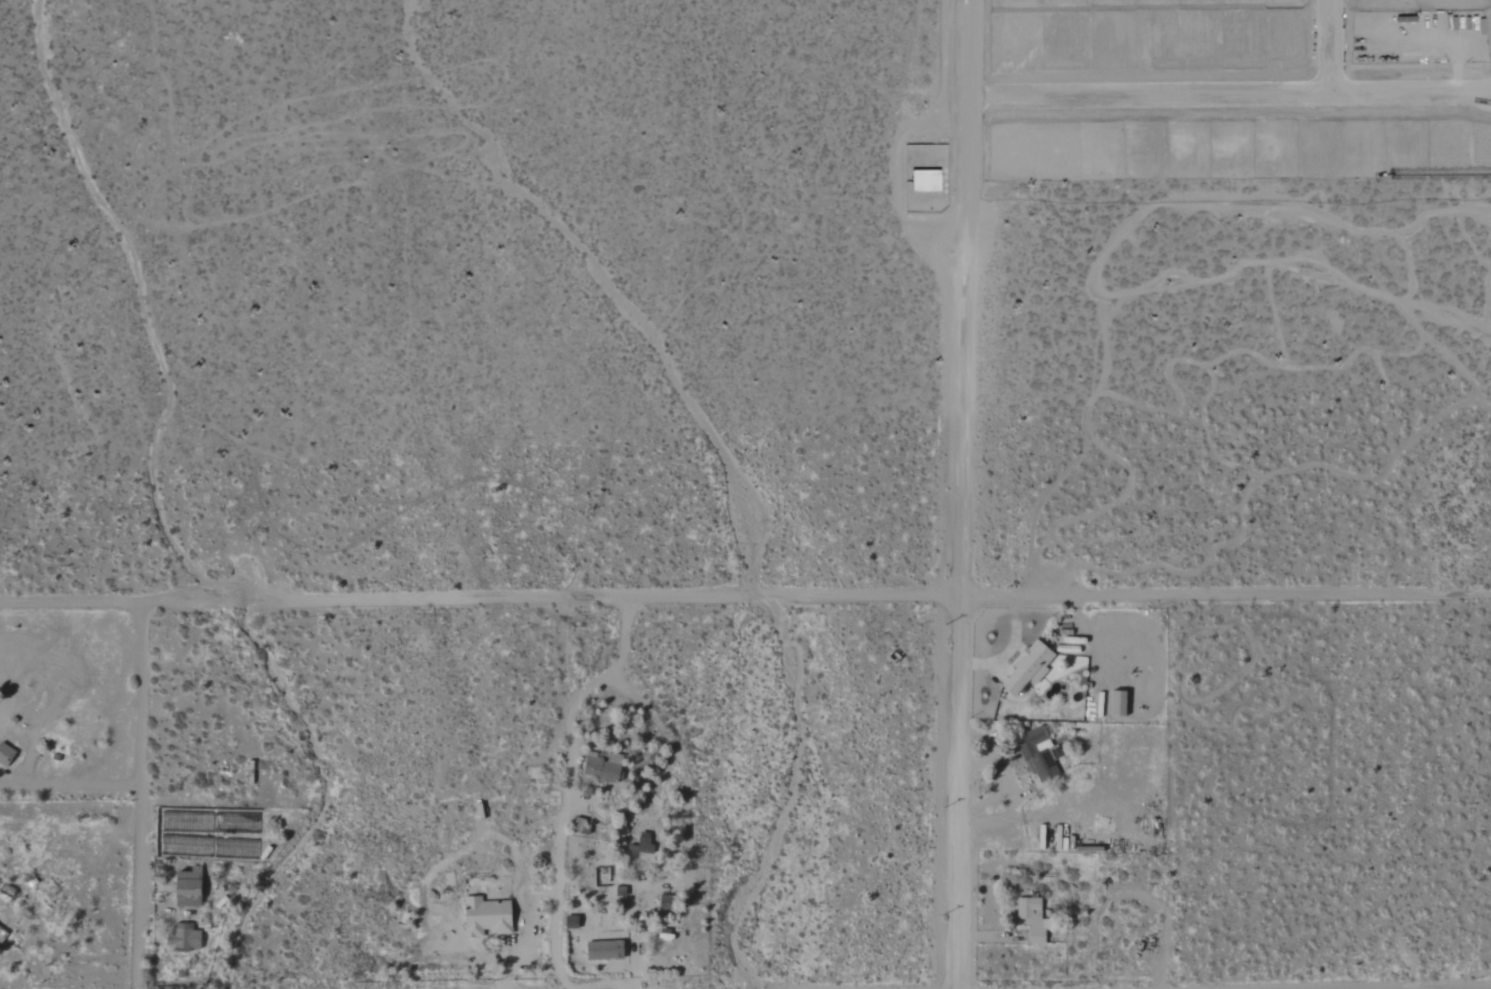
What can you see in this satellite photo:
road: (1329, 45)
road: (1226, 92)
road: (963, 494)
road: (1227, 592)
road: (482, 599)
road: (1009, 645)
building: (1026, 669)
road: (4, 699)
road: (677, 753)
building: (599, 769)
road: (566, 783)
road: (70, 785)
road: (141, 796)
road: (1008, 797)
road: (985, 802)
road: (463, 849)
road: (993, 872)
road: (541, 895)
building: (663, 903)
building: (1030, 916)
building: (483, 917)
building: (181, 937)
road: (990, 938)
road: (1160, 958)
road: (506, 971)
road: (608, 987)
road: (1452, 988)

